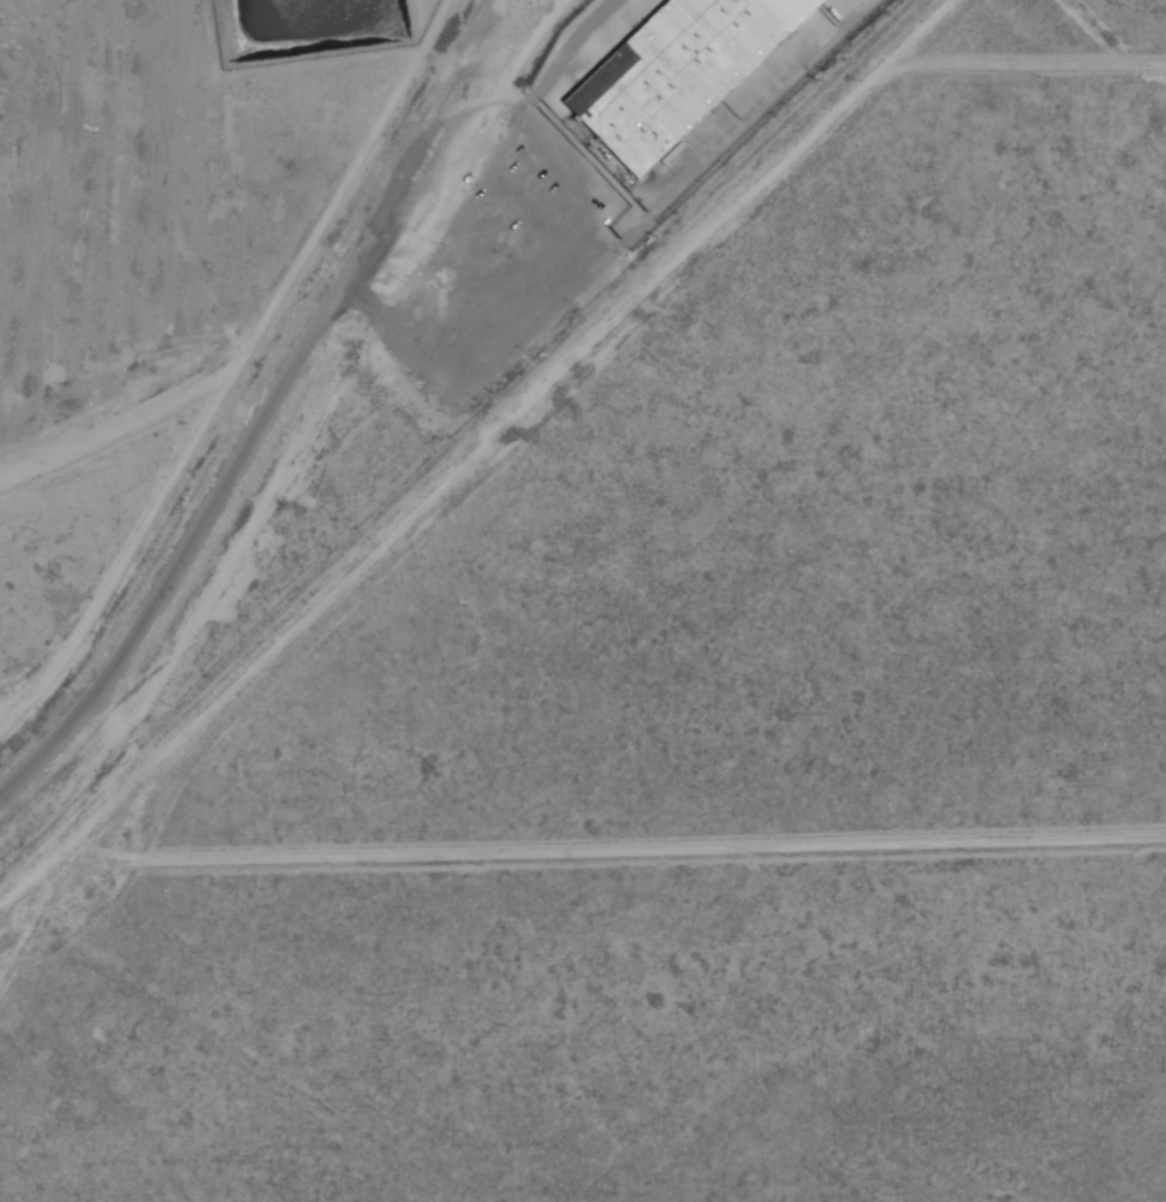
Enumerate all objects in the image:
building: (673, 66)
road: (249, 445)

